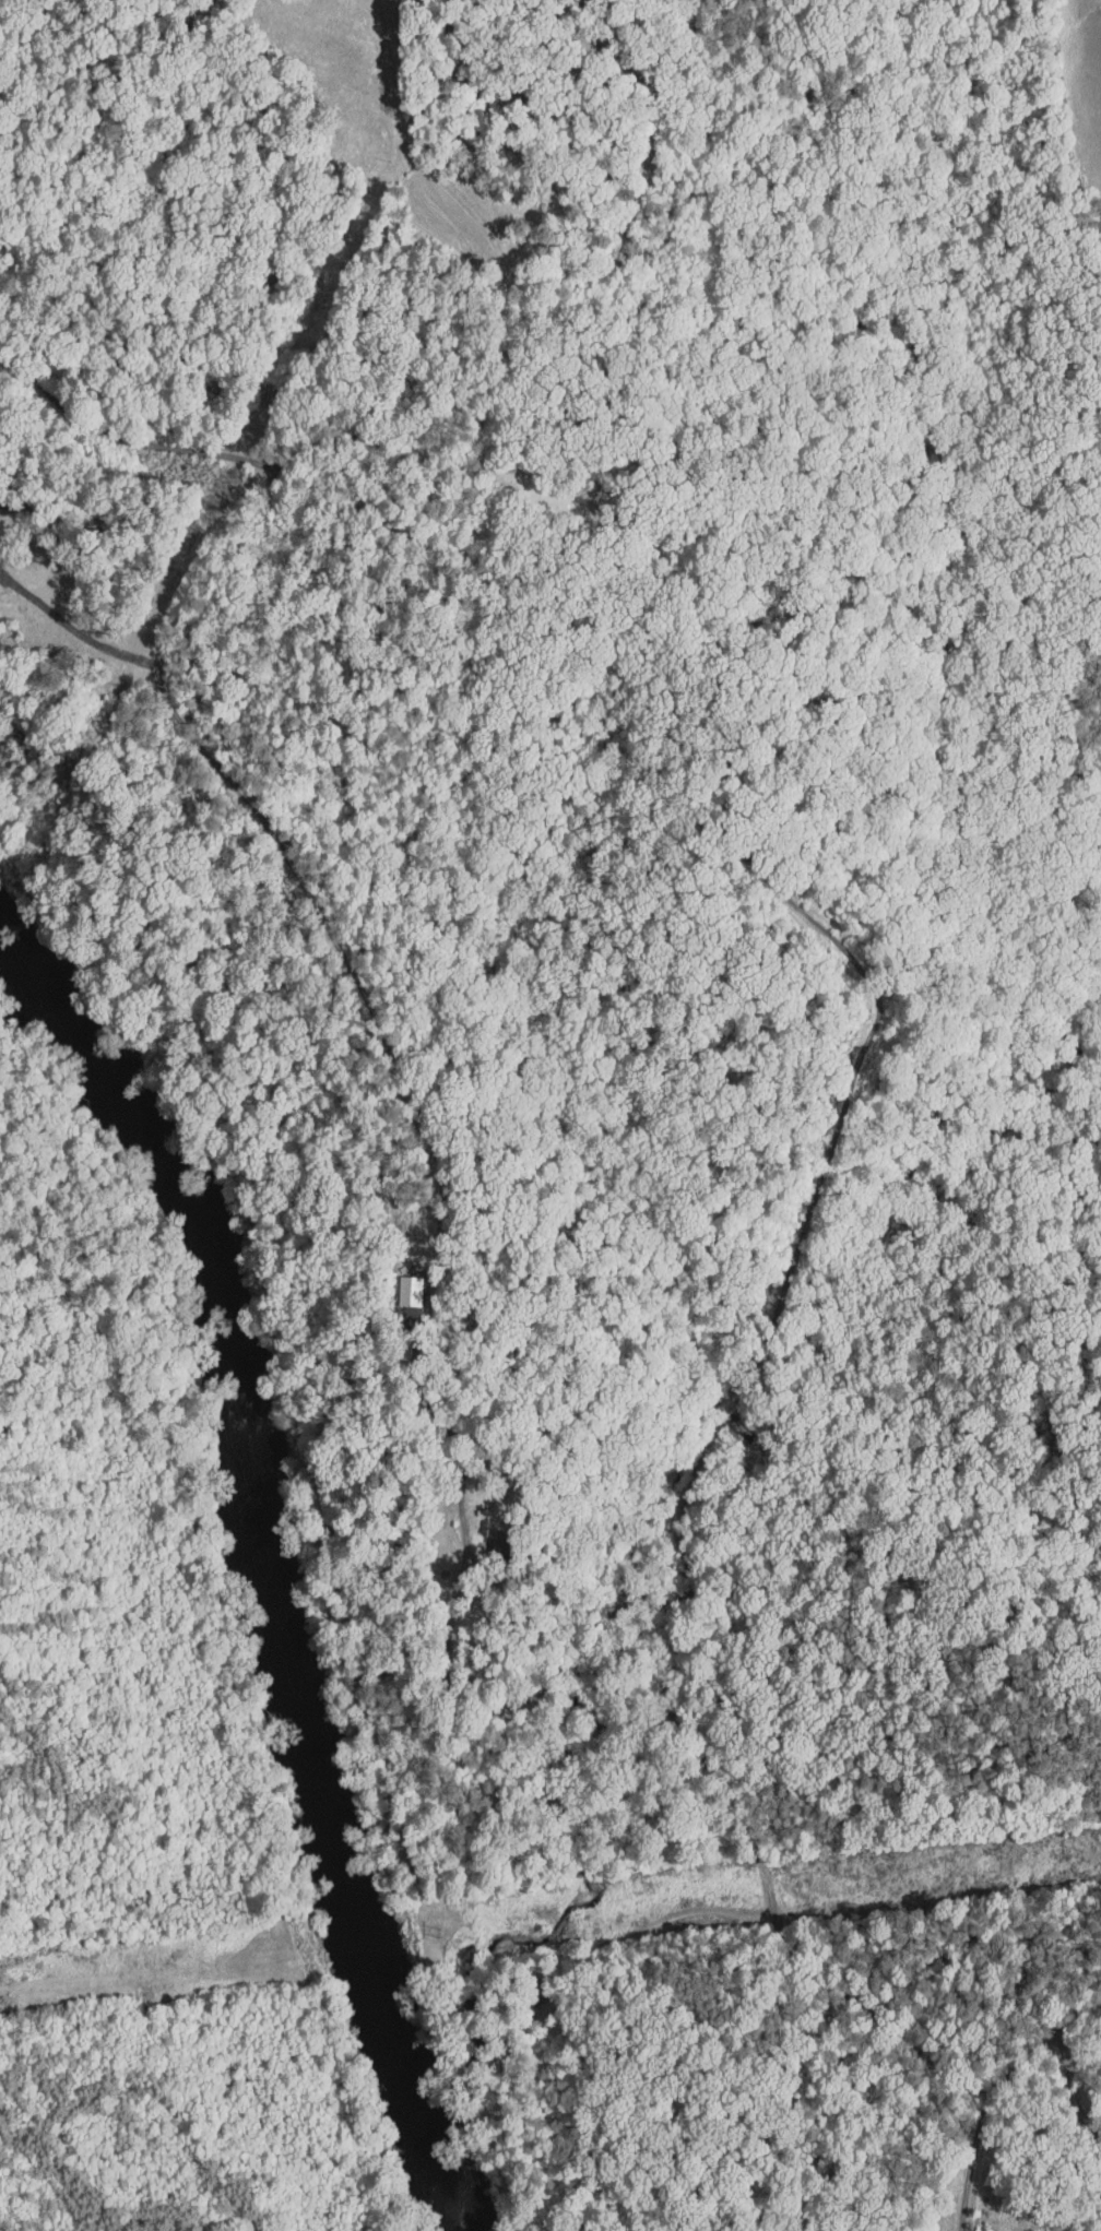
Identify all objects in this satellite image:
road: (481, 221)
road: (133, 427)
road: (438, 451)
road: (839, 944)
road: (438, 1171)
building: (396, 1283)
river: (252, 1496)
road: (682, 1526)
road: (110, 1609)
road: (792, 1955)
road: (1072, 2087)
river: (438, 2149)
road: (971, 2151)

